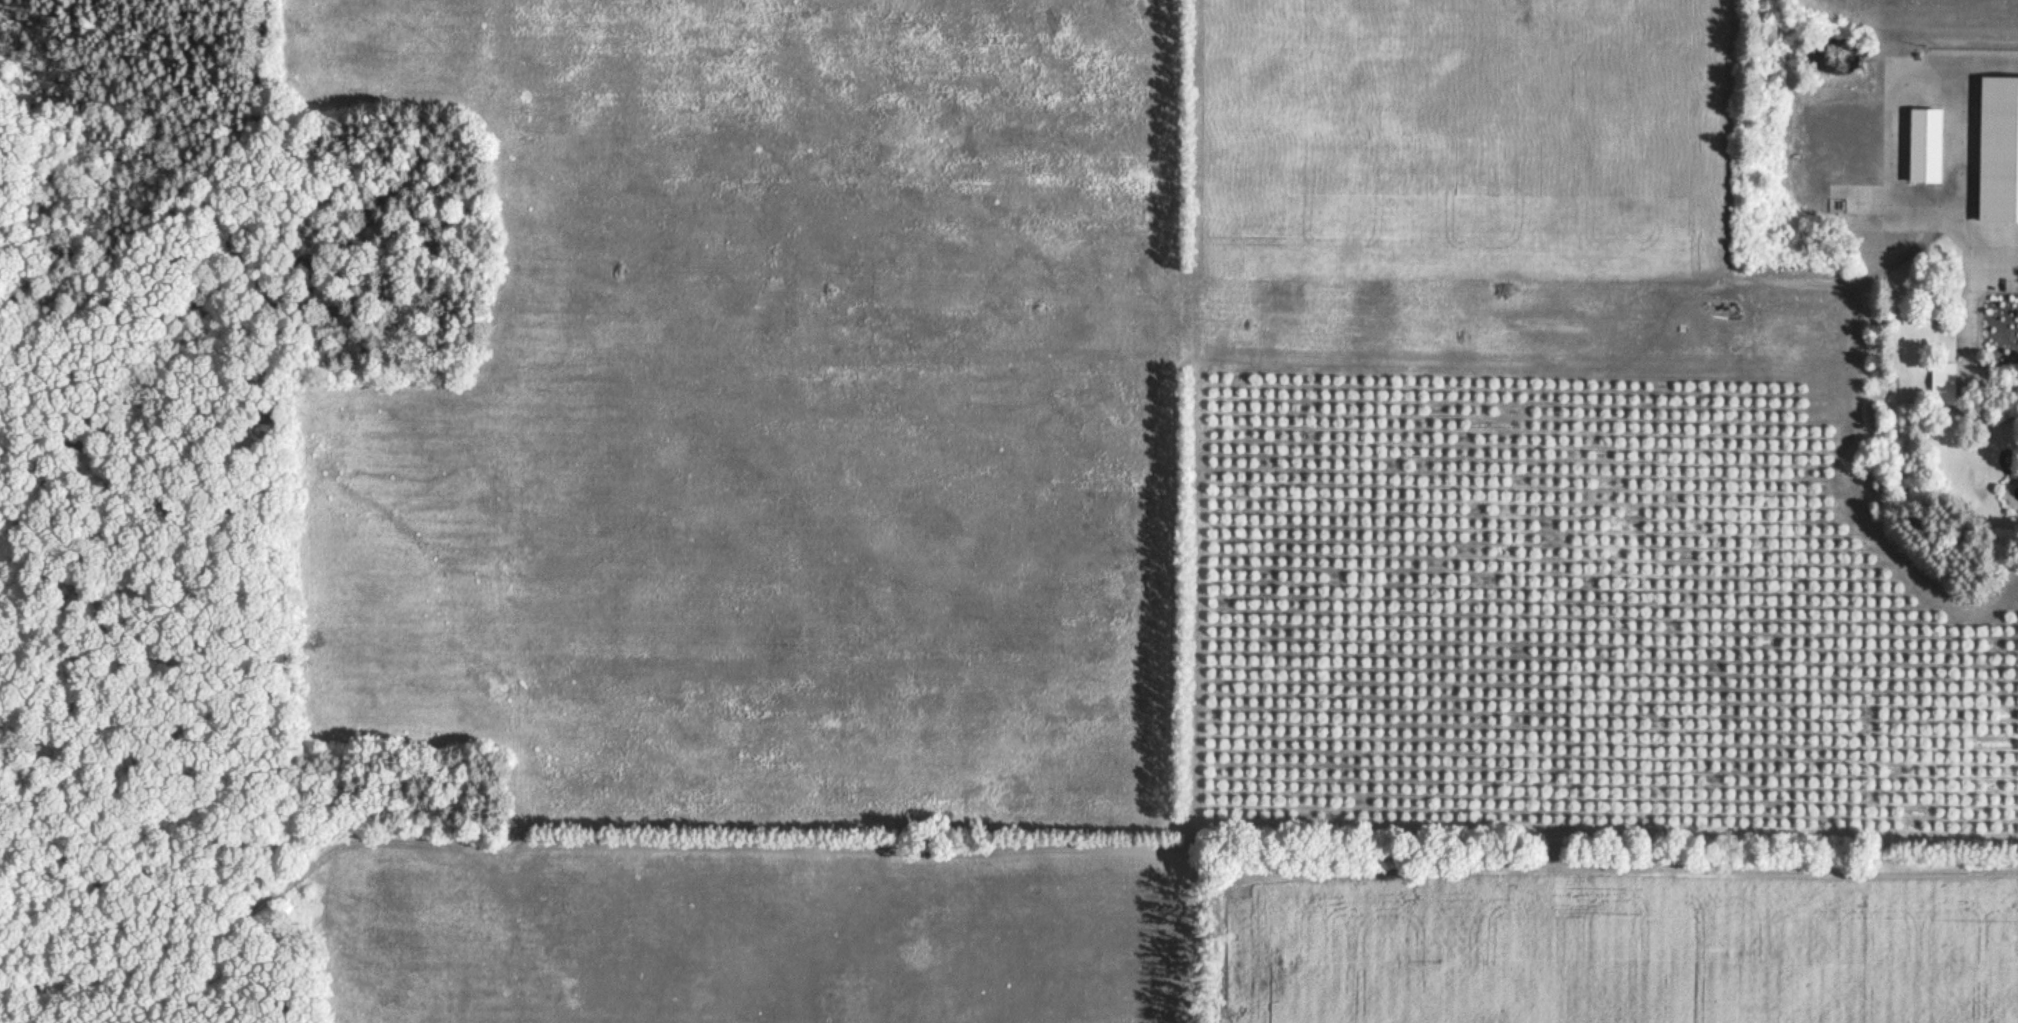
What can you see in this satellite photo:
building: (1923, 148)
building: (1996, 152)
building: (1942, 385)

